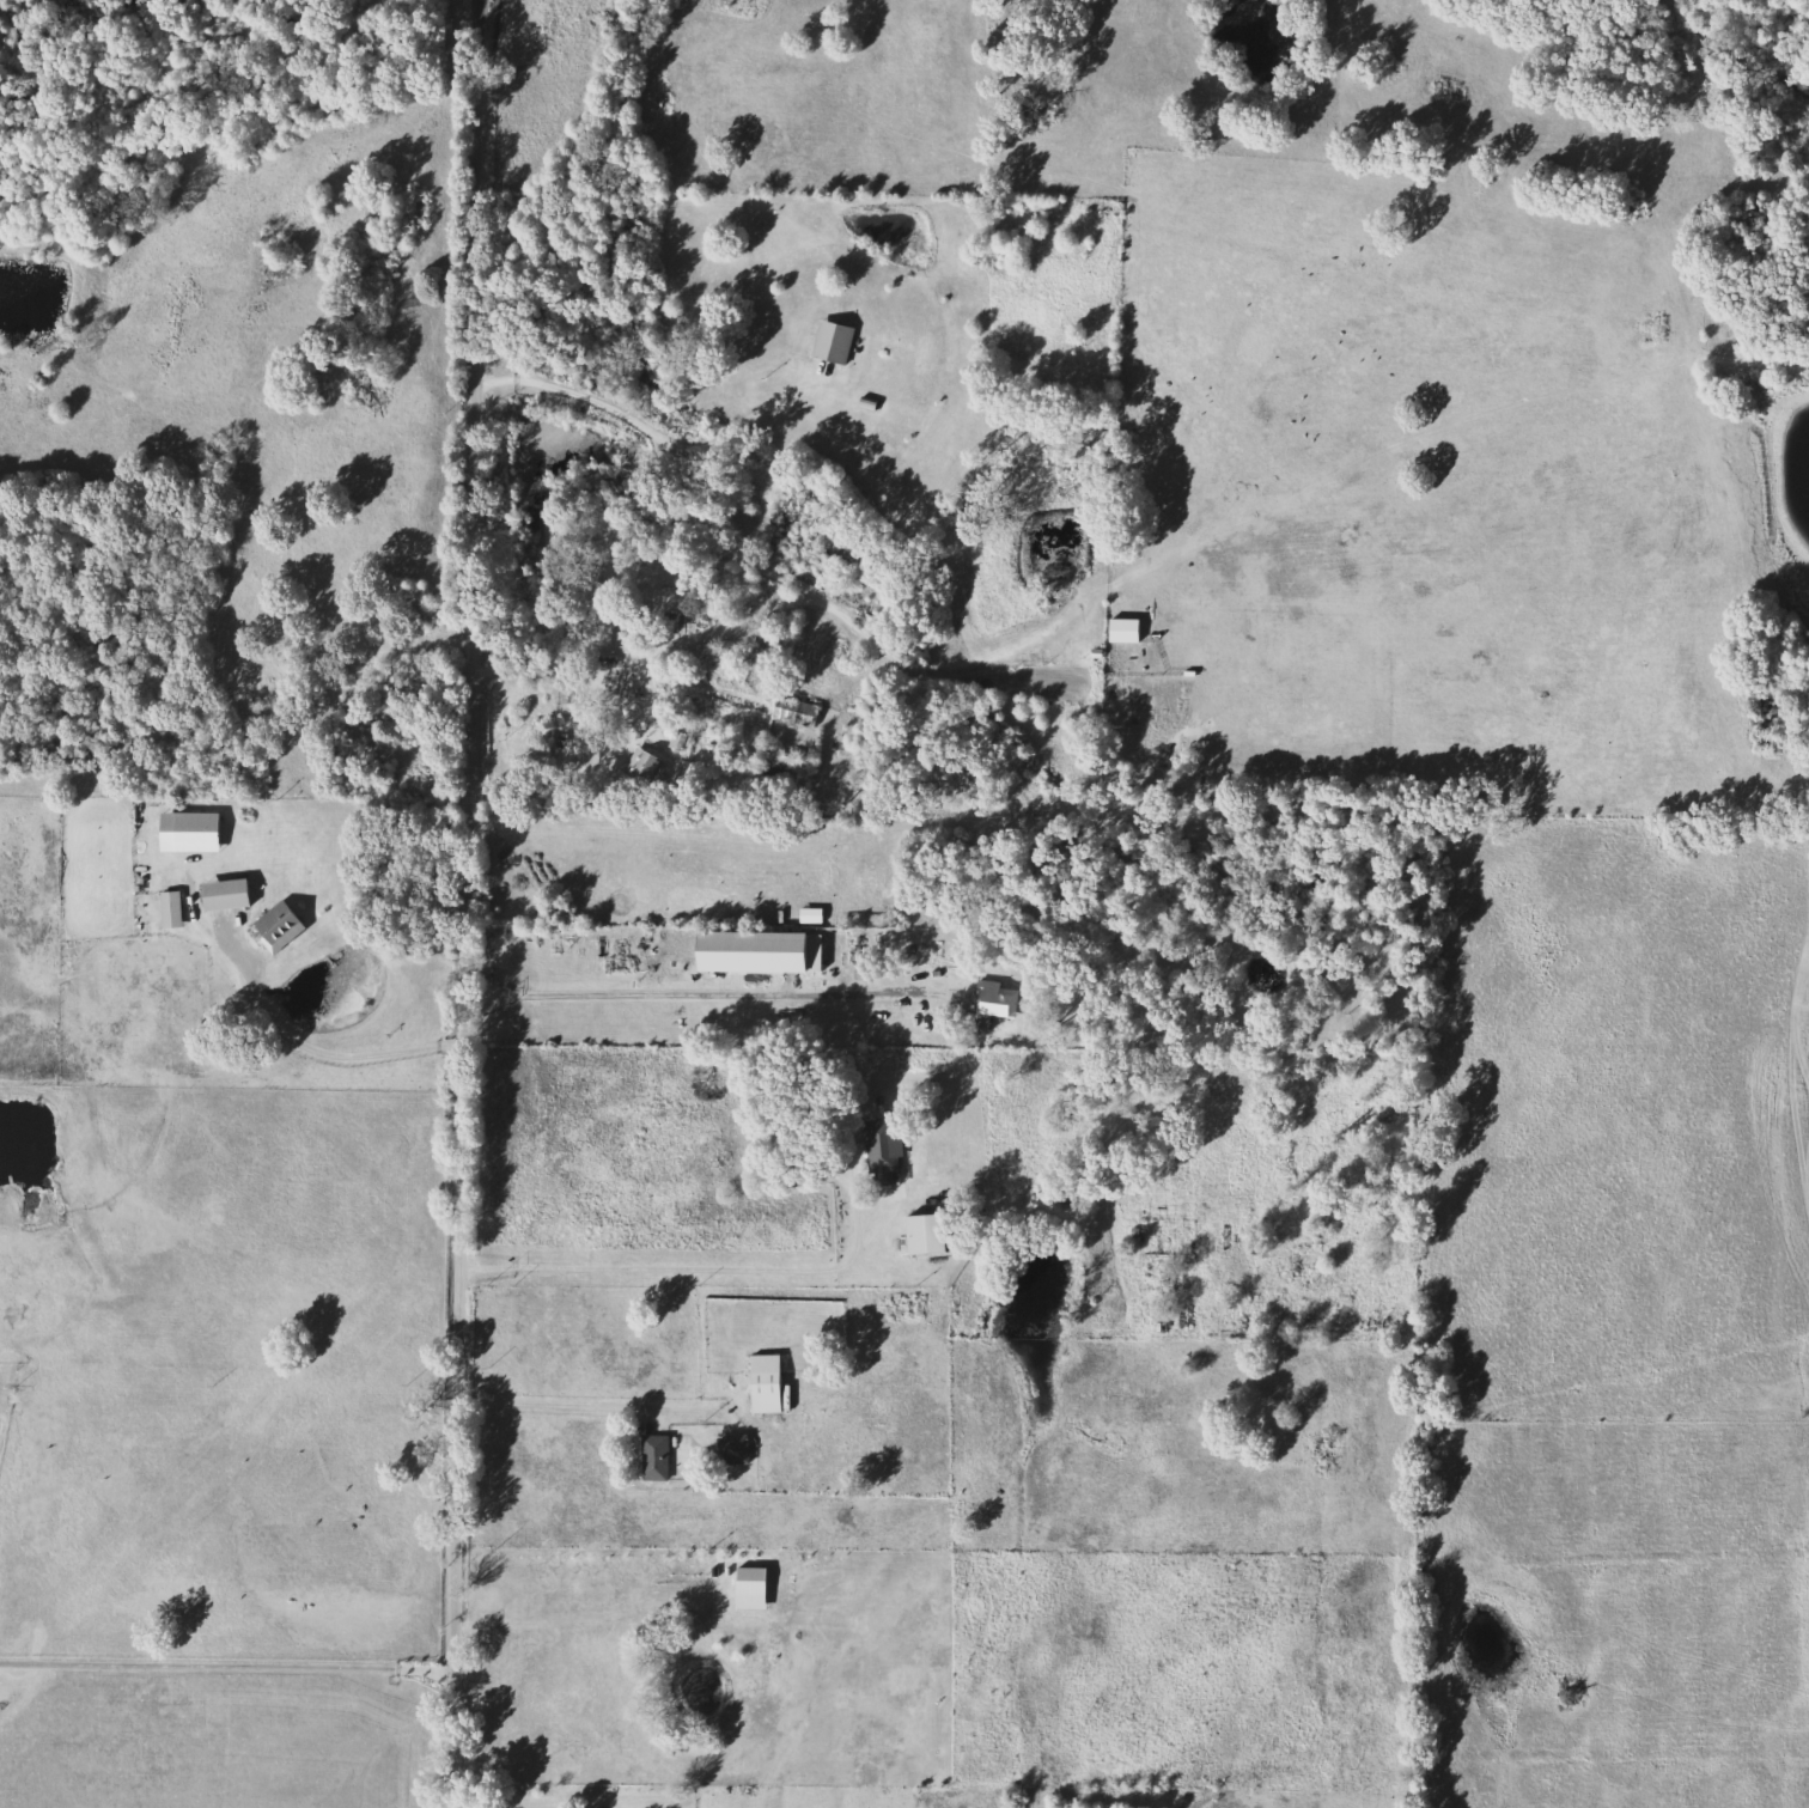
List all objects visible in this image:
road: (644, 433)
building: (623, 619)
road: (682, 639)
building: (786, 710)
building: (768, 762)
building: (639, 767)
building: (218, 893)
road: (469, 903)
building: (164, 907)
building: (272, 925)
building: (751, 950)
road: (693, 993)
building: (985, 997)
road: (325, 1051)
building: (879, 1153)
road: (1786, 1210)
road: (684, 1270)
building: (760, 1383)
road: (553, 1405)
building: (729, 1448)
building: (647, 1462)
road: (227, 1656)
road: (524, 1798)

